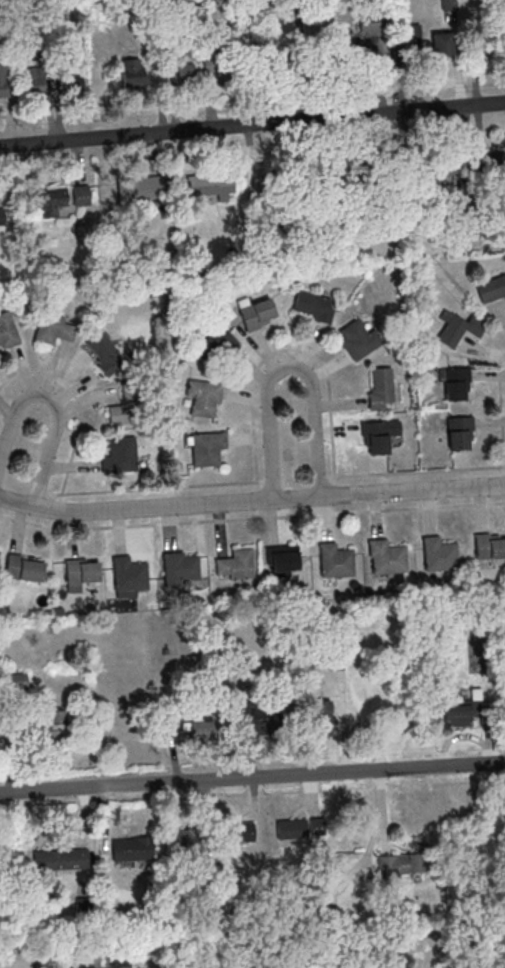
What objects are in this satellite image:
building: (240, 8)
building: (406, 38)
building: (442, 44)
building: (488, 44)
building: (351, 45)
building: (235, 63)
building: (133, 72)
building: (4, 79)
building: (74, 80)
building: (36, 81)
road: (252, 123)
building: (211, 185)
building: (444, 185)
building: (141, 188)
building: (326, 192)
building: (81, 194)
building: (50, 200)
building: (2, 217)
building: (491, 285)
building: (314, 306)
building: (258, 312)
building: (54, 329)
building: (458, 330)
building: (8, 331)
building: (356, 339)
building: (218, 343)
building: (105, 351)
road: (287, 366)
building: (457, 383)
building: (378, 388)
building: (200, 396)
building: (127, 406)
road: (499, 406)
road: (55, 410)
building: (458, 432)
road: (252, 436)
building: (380, 436)
building: (205, 447)
building: (121, 456)
road: (251, 500)
road: (251, 517)
building: (487, 545)
building: (436, 553)
building: (383, 556)
building: (332, 559)
building: (283, 560)
building: (236, 565)
building: (25, 567)
building: (177, 570)
building: (81, 573)
building: (126, 574)
building: (20, 682)
building: (387, 700)
building: (463, 708)
building: (324, 716)
building: (57, 723)
building: (268, 725)
building: (202, 728)
road: (252, 778)
building: (297, 827)
building: (241, 831)
building: (185, 837)
building: (132, 849)
building: (60, 859)
building: (404, 863)

